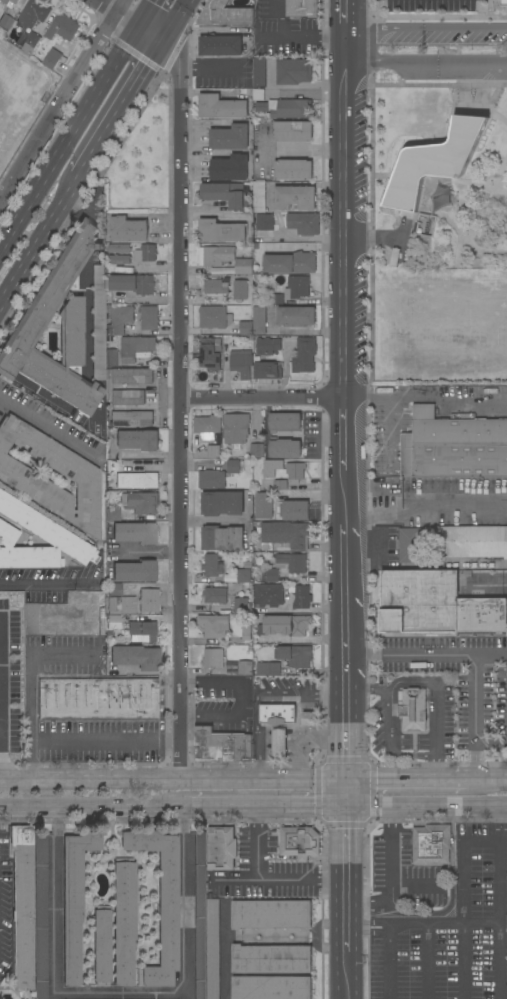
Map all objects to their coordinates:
building: (8, 2)
building: (505, 3)
building: (303, 8)
road: (144, 12)
road: (344, 13)
road: (488, 13)
building: (32, 14)
building: (225, 14)
road: (129, 20)
building: (5, 21)
road: (174, 21)
traffic signals: (137, 25)
building: (62, 27)
road: (425, 27)
road: (182, 36)
road: (304, 36)
traffic signals: (161, 42)
building: (30, 43)
road: (117, 43)
building: (221, 46)
parking lot: (436, 50)
road: (250, 51)
building: (52, 58)
road: (425, 63)
road: (207, 66)
building: (294, 71)
building: (259, 72)
building: (258, 94)
road: (493, 96)
park: (19, 97)
road: (61, 98)
road: (468, 104)
building: (261, 106)
building: (221, 107)
road: (117, 108)
building: (289, 108)
road: (485, 108)
building: (293, 131)
road: (68, 134)
building: (230, 137)
road: (427, 141)
road: (371, 162)
building: (434, 162)
building: (230, 168)
building: (293, 169)
road: (499, 171)
building: (224, 194)
building: (259, 197)
building: (294, 197)
road: (90, 200)
road: (422, 203)
road: (211, 210)
road: (415, 214)
building: (264, 222)
building: (303, 223)
building: (425, 224)
building: (128, 229)
building: (221, 231)
park: (435, 232)
road: (37, 237)
road: (95, 237)
road: (372, 237)
road: (401, 239)
building: (119, 248)
road: (456, 249)
building: (146, 254)
building: (215, 255)
building: (118, 259)
building: (290, 263)
building: (243, 266)
building: (124, 270)
building: (227, 270)
road: (343, 275)
building: (132, 283)
building: (215, 287)
building: (292, 289)
building: (240, 290)
road: (85, 311)
building: (296, 316)
building: (149, 317)
building: (214, 317)
building: (120, 319)
building: (259, 321)
building: (98, 322)
building: (245, 328)
building: (24, 332)
park: (463, 340)
building: (267, 346)
building: (135, 347)
building: (210, 354)
building: (304, 356)
building: (110, 357)
building: (241, 363)
building: (267, 370)
building: (129, 376)
road: (426, 394)
building: (127, 397)
road: (260, 398)
road: (177, 408)
building: (131, 418)
building: (285, 422)
road: (45, 425)
building: (207, 426)
building: (236, 428)
building: (256, 429)
road: (388, 429)
building: (137, 440)
building: (453, 446)
building: (285, 449)
building: (213, 451)
building: (257, 451)
building: (234, 466)
building: (271, 467)
building: (295, 472)
building: (79, 475)
building: (212, 479)
building: (136, 480)
building: (280, 485)
building: (139, 502)
building: (222, 503)
building: (263, 505)
building: (294, 510)
building: (112, 514)
road: (454, 514)
road: (373, 515)
road: (208, 521)
building: (256, 523)
building: (39, 526)
building: (134, 532)
building: (284, 535)
building: (222, 538)
building: (472, 541)
building: (410, 545)
building: (293, 562)
building: (212, 566)
building: (134, 571)
building: (271, 575)
building: (243, 576)
building: (263, 576)
road: (41, 581)
road: (493, 584)
building: (268, 594)
building: (214, 595)
building: (301, 597)
building: (119, 600)
building: (148, 600)
road: (344, 603)
building: (436, 604)
building: (240, 605)
building: (11, 609)
building: (100, 621)
building: (112, 621)
building: (285, 625)
building: (214, 626)
building: (141, 632)
building: (246, 632)
building: (264, 639)
building: (233, 641)
road: (491, 653)
road: (472, 654)
building: (294, 655)
building: (135, 657)
building: (213, 658)
building: (230, 667)
building: (245, 668)
building: (267, 668)
road: (210, 681)
road: (255, 693)
road: (243, 697)
building: (97, 699)
road: (5, 704)
road: (435, 705)
building: (412, 709)
road: (209, 713)
building: (278, 713)
building: (309, 719)
road: (387, 722)
road: (294, 728)
road: (344, 731)
road: (29, 736)
road: (3, 738)
road: (322, 740)
building: (279, 743)
building: (221, 746)
road: (300, 754)
road: (29, 760)
road: (486, 779)
road: (172, 780)
traffic signals: (344, 780)
road: (404, 780)
road: (344, 794)
road: (83, 808)
road: (421, 808)
road: (503, 808)
road: (255, 809)
traffic signals: (344, 809)
road: (499, 825)
building: (299, 842)
road: (344, 843)
building: (431, 844)
building: (221, 848)
road: (463, 860)
road: (392, 876)
road: (265, 879)
road: (236, 880)
road: (499, 882)
road: (415, 885)
road: (345, 892)
road: (55, 899)
building: (73, 899)
road: (186, 899)
building: (160, 902)
building: (21, 905)
parking lot: (437, 911)
building: (40, 914)
building: (271, 914)
building: (199, 915)
road: (345, 916)
road: (463, 918)
building: (124, 920)
road: (425, 923)
road: (481, 923)
road: (366, 926)
road: (345, 939)
building: (101, 946)
building: (213, 949)
building: (271, 959)
road: (427, 961)
road: (463, 961)
road: (499, 961)
road: (388, 962)
road: (345, 975)
building: (272, 987)
road: (119, 993)

